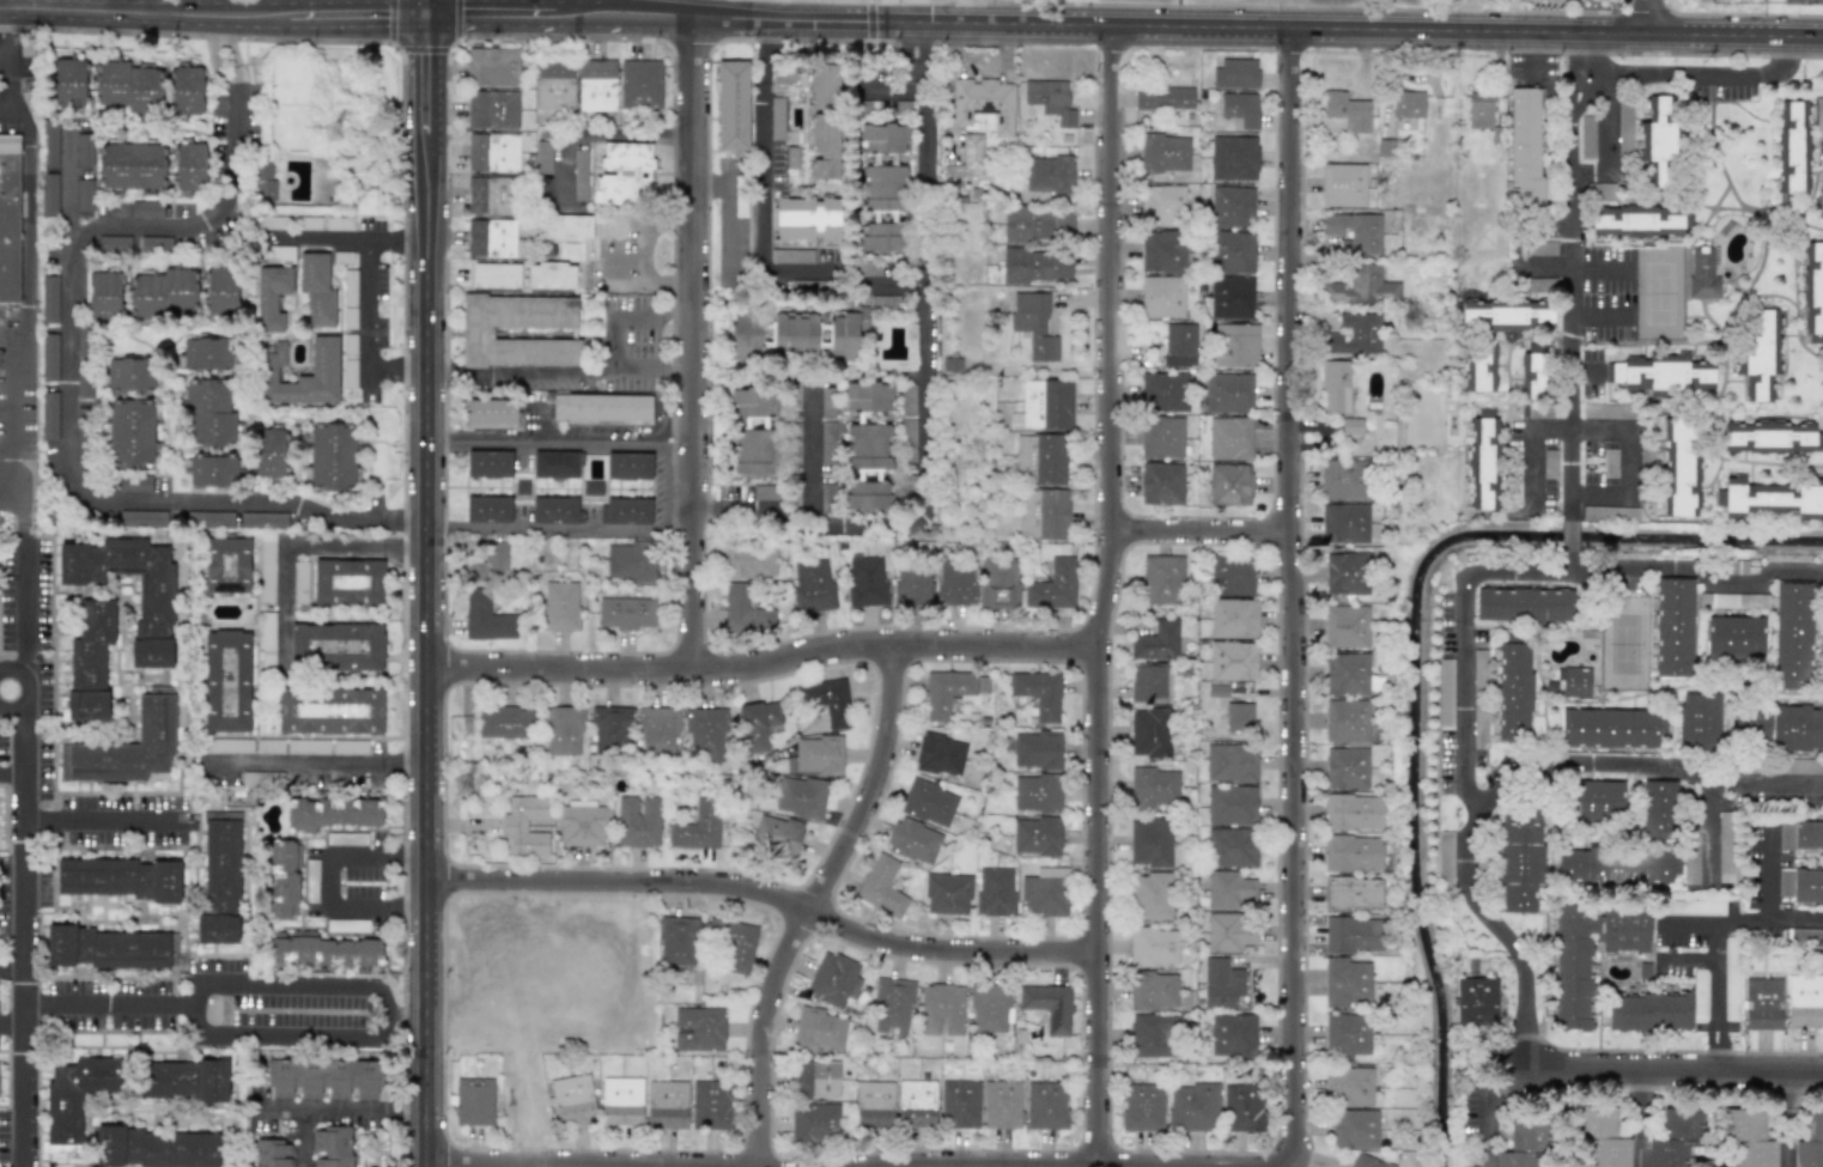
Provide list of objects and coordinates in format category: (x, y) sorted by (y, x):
building: (1700, 0)
building: (1803, 1)
road: (140, 7)
road: (285, 8)
road: (426, 8)
road: (506, 8)
road: (662, 10)
road: (804, 11)
road: (213, 17)
traffic signals: (427, 17)
road: (466, 17)
road: (1651, 17)
road: (1162, 26)
road: (11, 37)
road: (1574, 53)
road: (917, 59)
road: (5, 61)
building: (492, 67)
building: (785, 71)
road: (1696, 72)
building: (1235, 73)
building: (105, 84)
building: (640, 84)
building: (554, 85)
building: (596, 85)
road: (10, 89)
building: (186, 91)
building: (1052, 99)
building: (1166, 99)
building: (733, 104)
building: (1408, 104)
building: (983, 105)
building: (1240, 108)
building: (492, 109)
building: (1476, 110)
building: (1347, 111)
road: (5, 114)
building: (777, 118)
building: (1818, 118)
building: (824, 122)
road: (229, 126)
building: (1624, 127)
building: (1523, 130)
road: (594, 132)
power tower: (333, 134)
building: (885, 134)
building: (1587, 138)
building: (1657, 142)
building: (1793, 146)
building: (84, 150)
building: (50, 151)
building: (972, 151)
building: (493, 152)
building: (1165, 153)
building: (542, 156)
road: (920, 158)
building: (1233, 158)
building: (130, 166)
building: (187, 168)
building: (624, 171)
building: (953, 171)
building: (579, 175)
building: (1049, 175)
building: (263, 181)
building: (1343, 184)
building: (883, 186)
road: (67, 187)
building: (49, 193)
building: (488, 195)
building: (84, 197)
road: (1664, 201)
building: (1821, 201)
building: (1161, 205)
building: (1232, 207)
building: (146, 209)
road: (728, 211)
building: (804, 217)
road: (1707, 217)
building: (10, 218)
building: (1640, 221)
building: (308, 223)
building: (339, 224)
road: (1810, 225)
building: (1038, 226)
building: (567, 227)
building: (615, 227)
road: (762, 227)
building: (1356, 232)
road: (396, 238)
building: (491, 238)
building: (880, 238)
road: (1709, 238)
building: (114, 243)
building: (1542, 248)
building: (1162, 251)
building: (1232, 253)
building: (342, 257)
building: (1037, 266)
road: (1572, 266)
road: (1794, 268)
building: (1703, 273)
building: (496, 274)
building: (551, 275)
road: (1110, 278)
road: (1287, 279)
building: (350, 286)
building: (1362, 286)
building: (1813, 287)
building: (316, 290)
road: (1745, 290)
building: (221, 292)
building: (163, 293)
road: (1769, 294)
building: (104, 296)
building: (271, 297)
building: (1162, 297)
road: (1685, 297)
building: (1230, 298)
building: (49, 299)
road: (28, 304)
road: (367, 305)
building: (1507, 316)
building: (350, 317)
building: (1034, 326)
building: (475, 333)
building: (794, 334)
building: (846, 335)
building: (1354, 335)
building: (746, 338)
road: (695, 342)
road: (1652, 342)
building: (350, 345)
building: (1180, 345)
building: (1235, 346)
building: (1760, 352)
building: (201, 353)
building: (48, 360)
building: (952, 365)
building: (1479, 366)
building: (323, 370)
building: (1532, 371)
road: (396, 372)
building: (130, 373)
building: (350, 373)
road: (588, 373)
building: (1661, 373)
road: (654, 375)
building: (1336, 387)
building: (83, 389)
road: (69, 391)
building: (1165, 393)
building: (1228, 393)
building: (907, 395)
building: (867, 396)
building: (794, 399)
building: (826, 402)
building: (1045, 405)
building: (601, 407)
building: (1608, 411)
building: (208, 412)
building: (491, 412)
building: (49, 415)
building: (753, 428)
road: (1608, 430)
building: (1353, 431)
building: (130, 432)
building: (1772, 436)
building: (1162, 437)
road: (560, 438)
building: (1229, 438)
building: (827, 443)
building: (334, 456)
building: (1040, 458)
building: (1482, 460)
building: (1610, 462)
building: (488, 463)
building: (555, 464)
building: (630, 466)
building: (1679, 466)
building: (867, 467)
building: (214, 472)
building: (1343, 480)
building: (134, 484)
building: (1161, 484)
building: (1229, 485)
building: (591, 488)
building: (1773, 499)
road: (7, 500)
road: (733, 507)
building: (487, 509)
building: (555, 511)
building: (627, 511)
building: (1043, 513)
building: (1610, 513)
building: (144, 517)
building: (209, 518)
building: (263, 519)
road: (910, 519)
road: (1702, 519)
building: (1344, 523)
road: (563, 528)
road: (1198, 529)
road: (294, 548)
building: (631, 560)
building: (751, 561)
building: (490, 563)
building: (226, 565)
building: (267, 567)
building: (1737, 567)
building: (1347, 573)
road: (1503, 573)
building: (1232, 575)
road: (1697, 576)
building: (867, 579)
building: (1162, 579)
building: (297, 582)
building: (347, 582)
building: (1001, 583)
building: (955, 584)
road: (23, 585)
building: (812, 585)
building: (1053, 585)
building: (913, 586)
road: (424, 591)
building: (1733, 601)
building: (154, 603)
building: (1524, 604)
building: (560, 607)
building: (745, 612)
building: (626, 613)
building: (1233, 619)
building: (486, 620)
building: (1673, 620)
building: (1787, 624)
building: (1347, 627)
building: (1734, 637)
building: (267, 640)
building: (1156, 642)
building: (336, 646)
building: (90, 660)
road: (761, 660)
building: (1233, 661)
building: (1347, 674)
building: (226, 681)
building: (1148, 682)
building: (1575, 682)
building: (983, 685)
road: (30, 689)
building: (1216, 691)
building: (1513, 691)
building: (944, 692)
building: (1038, 694)
building: (1445, 694)
building: (826, 700)
building: (1696, 710)
building: (286, 711)
building: (332, 711)
building: (1238, 717)
building: (1347, 721)
building: (1791, 722)
building: (504, 723)
building: (758, 724)
building: (1611, 728)
building: (563, 729)
building: (610, 729)
building: (657, 729)
building: (706, 733)
building: (1149, 733)
building: (229, 746)
building: (269, 746)
building: (127, 747)
building: (308, 747)
building: (350, 747)
building: (1037, 749)
building: (818, 755)
building: (941, 755)
road: (309, 762)
building: (1230, 762)
road: (1588, 765)
building: (1347, 767)
road: (11, 773)
road: (1712, 777)
power tower: (458, 788)
building: (1154, 788)
building: (1037, 794)
building: (800, 797)
building: (1653, 801)
building: (928, 803)
building: (1594, 803)
building: (1230, 806)
building: (1354, 812)
building: (333, 813)
road: (99, 819)
building: (637, 821)
building: (581, 823)
building: (524, 825)
building: (697, 828)
building: (777, 834)
building: (1807, 834)
building: (1785, 835)
building: (1037, 837)
building: (346, 839)
building: (913, 840)
building: (1149, 843)
road: (1095, 845)
building: (1725, 846)
building: (1232, 847)
building: (1515, 847)
building: (1354, 852)
building: (1691, 856)
building: (1446, 859)
building: (1617, 867)
road: (1768, 875)
building: (120, 879)
building: (284, 880)
building: (220, 881)
building: (311, 881)
building: (1783, 882)
road: (327, 883)
building: (1807, 886)
building: (881, 887)
building: (1229, 889)
road: (764, 891)
building: (995, 892)
building: (1045, 893)
building: (1353, 893)
building: (947, 894)
building: (1151, 896)
road: (812, 901)
building: (1693, 907)
road: (1795, 917)
building: (346, 925)
road: (1690, 925)
building: (1229, 931)
building: (1353, 934)
building: (1801, 935)
road: (25, 936)
building: (677, 941)
building: (734, 943)
building: (1153, 947)
building: (105, 948)
building: (172, 949)
building: (1587, 949)
building: (327, 952)
road: (1687, 958)
road: (12, 967)
road: (1716, 971)
building: (834, 979)
building: (1731, 979)
building: (1221, 983)
building: (1347, 983)
road: (226, 984)
building: (1153, 991)
building: (1700, 995)
building: (1475, 999)
building: (1804, 1001)
building: (1763, 1003)
building: (893, 1005)
building: (1049, 1005)
building: (941, 1009)
building: (990, 1009)
building: (1648, 1010)
road: (12, 1025)
building: (820, 1028)
building: (699, 1029)
building: (1233, 1034)
building: (1347, 1034)
road: (285, 1035)
building: (1153, 1035)
road: (1293, 1060)
road: (1672, 1070)
building: (324, 1077)
building: (816, 1078)
building: (183, 1080)
building: (1349, 1087)
building: (75, 1098)
building: (572, 1099)
building: (474, 1101)
building: (621, 1101)
building: (667, 1104)
building: (874, 1104)
building: (917, 1104)
building: (960, 1104)
building: (710, 1105)
building: (1002, 1105)
building: (1046, 1105)
building: (1193, 1106)
building: (1142, 1107)
building: (1242, 1107)
road: (1482, 1107)
road: (339, 1110)
road: (1639, 1118)
road: (1786, 1119)
building: (815, 1122)
building: (1355, 1129)
building: (1602, 1137)
building: (1749, 1137)
road: (303, 1138)
building: (1675, 1138)
building: (1810, 1143)
building: (333, 1145)
building: (1523, 1145)
building: (157, 1148)
building: (272, 1153)
building: (1367, 1162)
road: (456, 1166)

